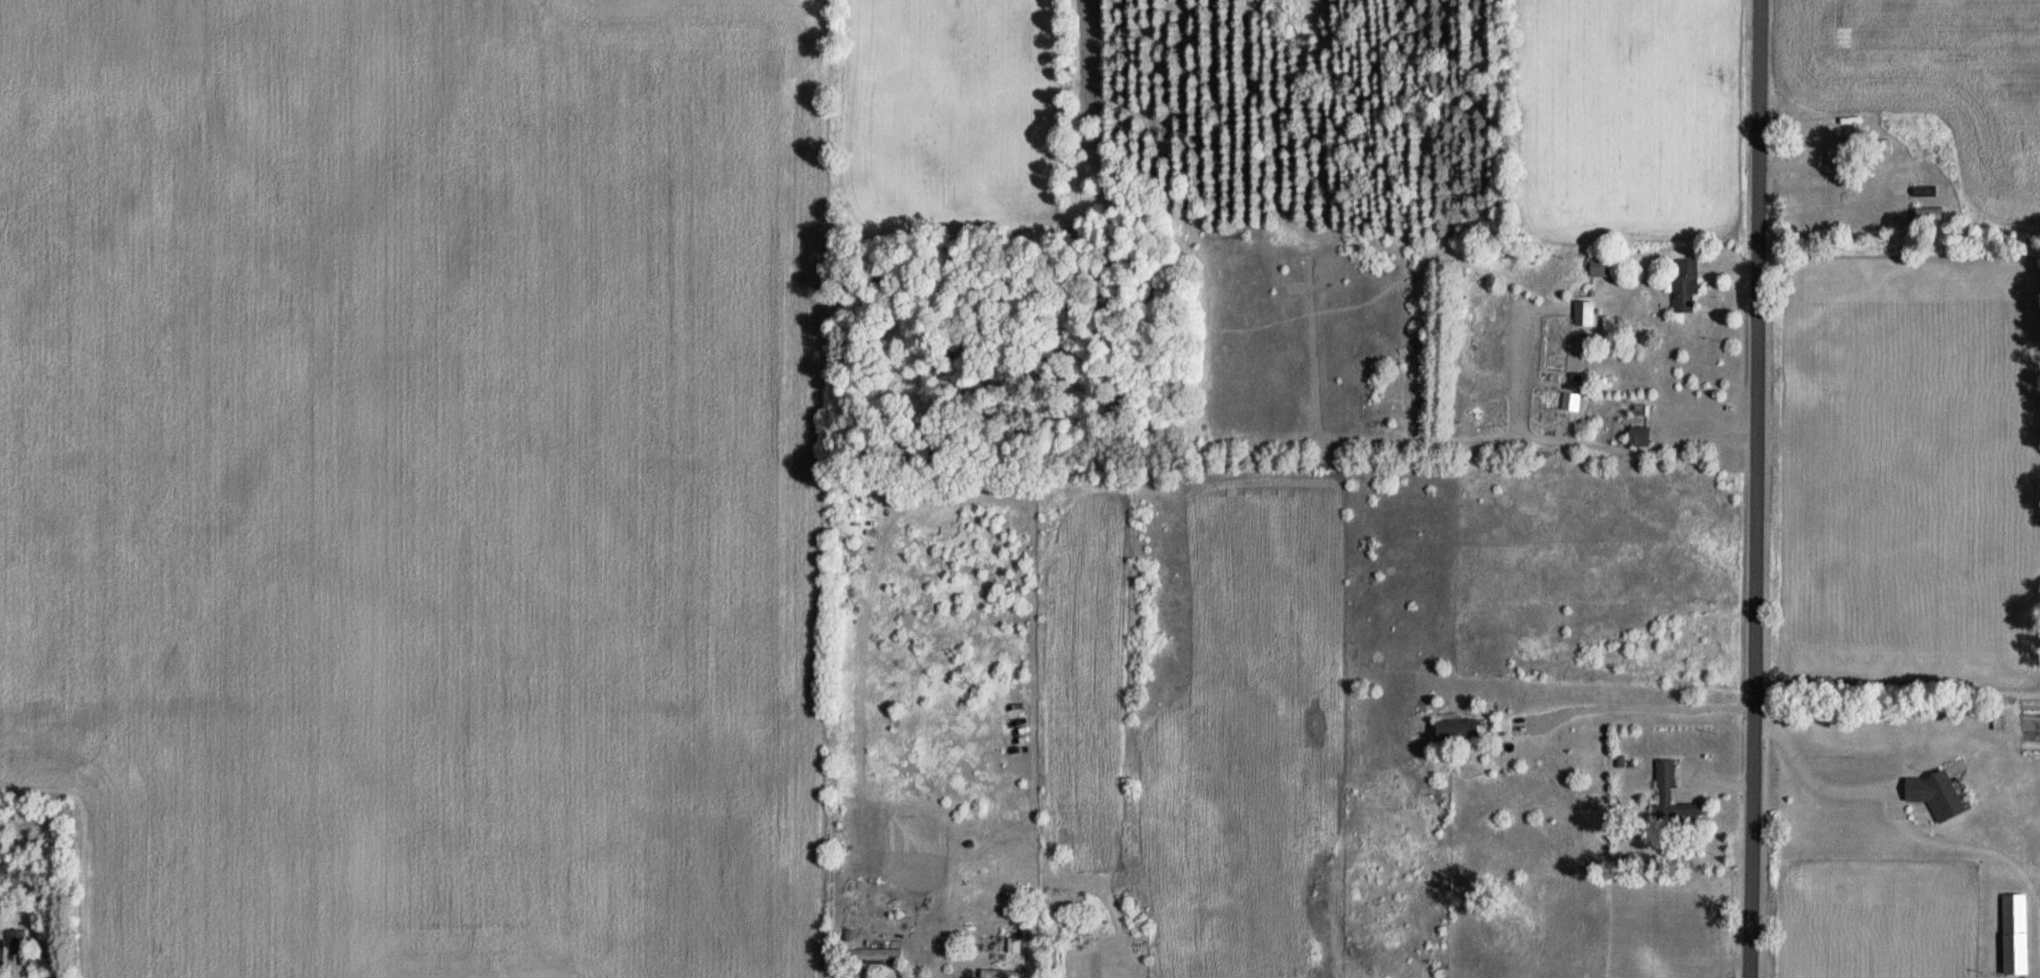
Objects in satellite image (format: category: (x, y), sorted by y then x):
building: (1834, 152)
road: (1788, 165)
building: (1922, 192)
building: (1922, 215)
building: (1683, 285)
building: (1582, 313)
building: (1568, 402)
building: (1636, 437)
road: (1755, 489)
building: (1454, 730)
road: (1808, 782)
building: (1933, 794)
building: (1669, 798)
building: (2012, 935)
building: (11, 943)
building: (991, 943)
building: (874, 956)
road: (885, 970)
road: (19, 974)

